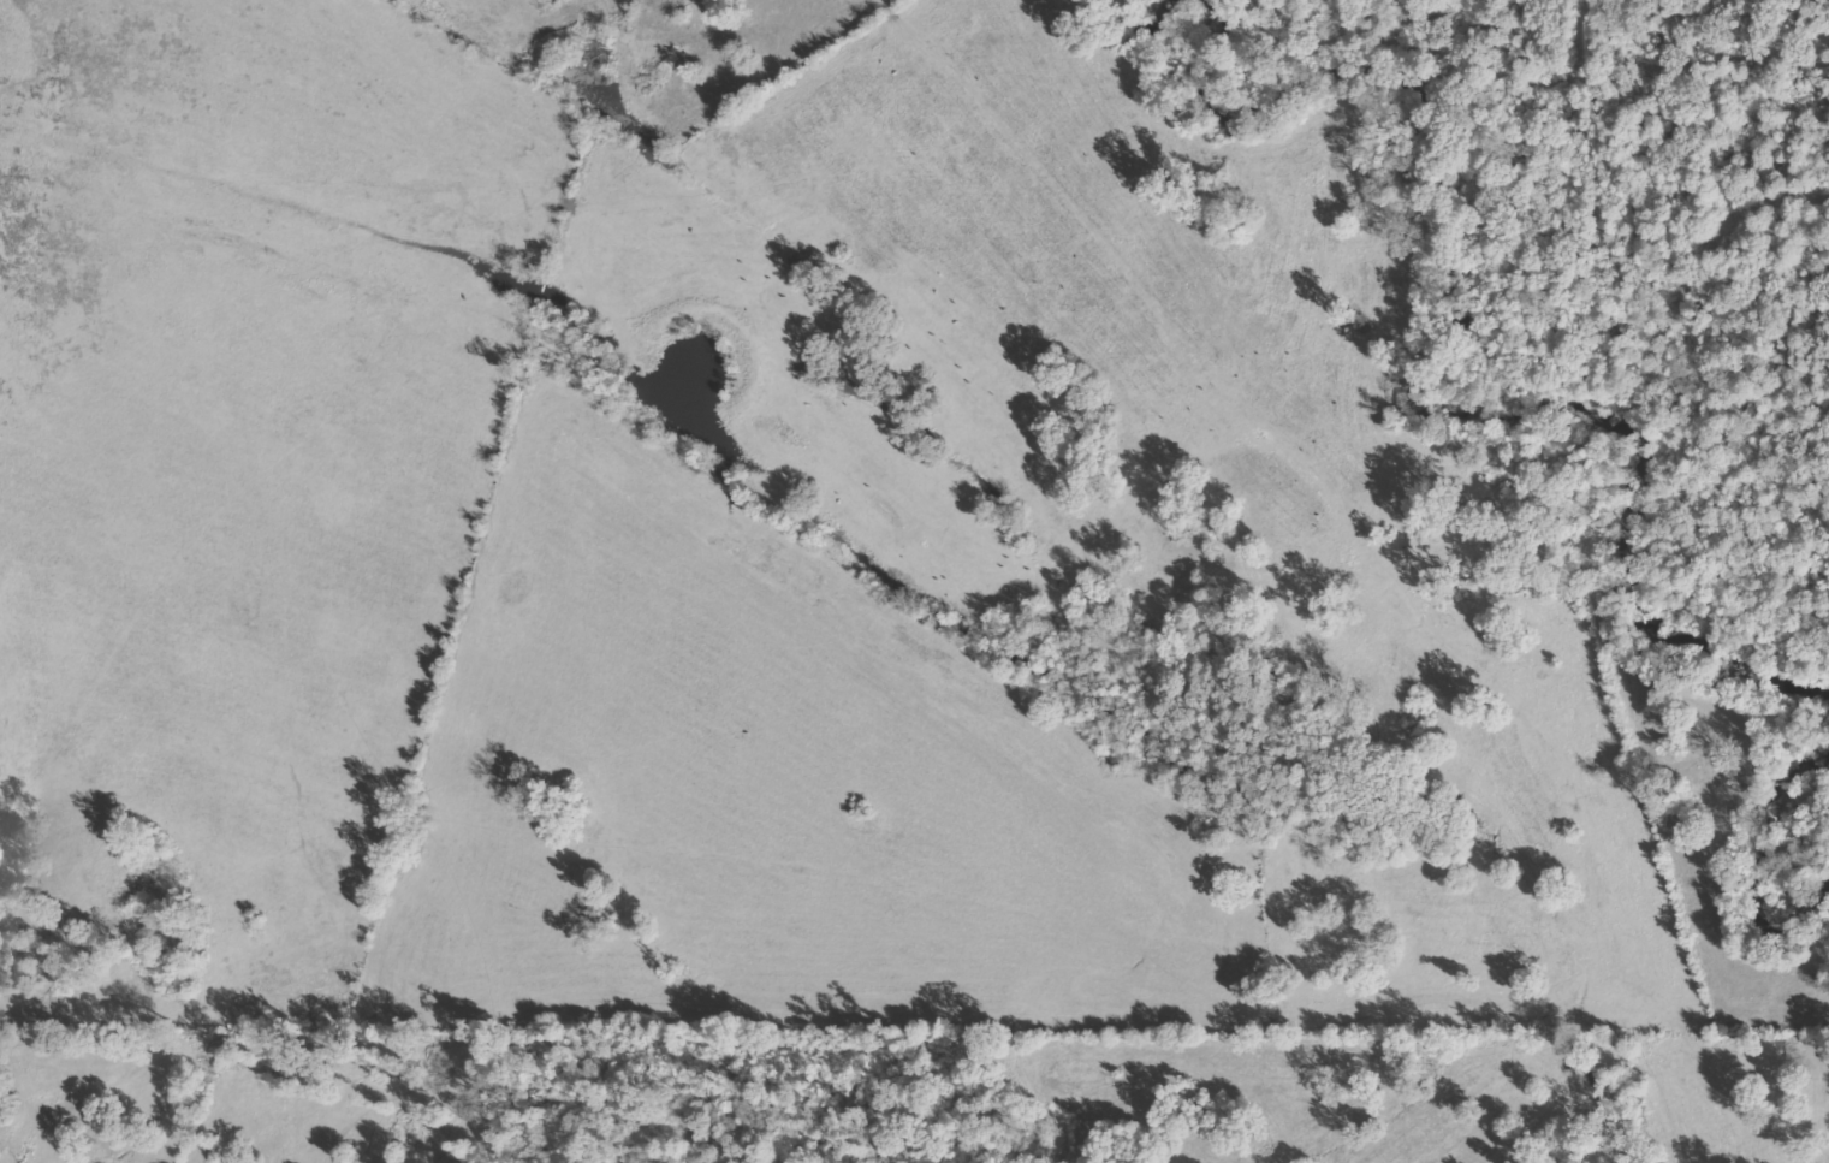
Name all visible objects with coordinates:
road: (44, 883)

